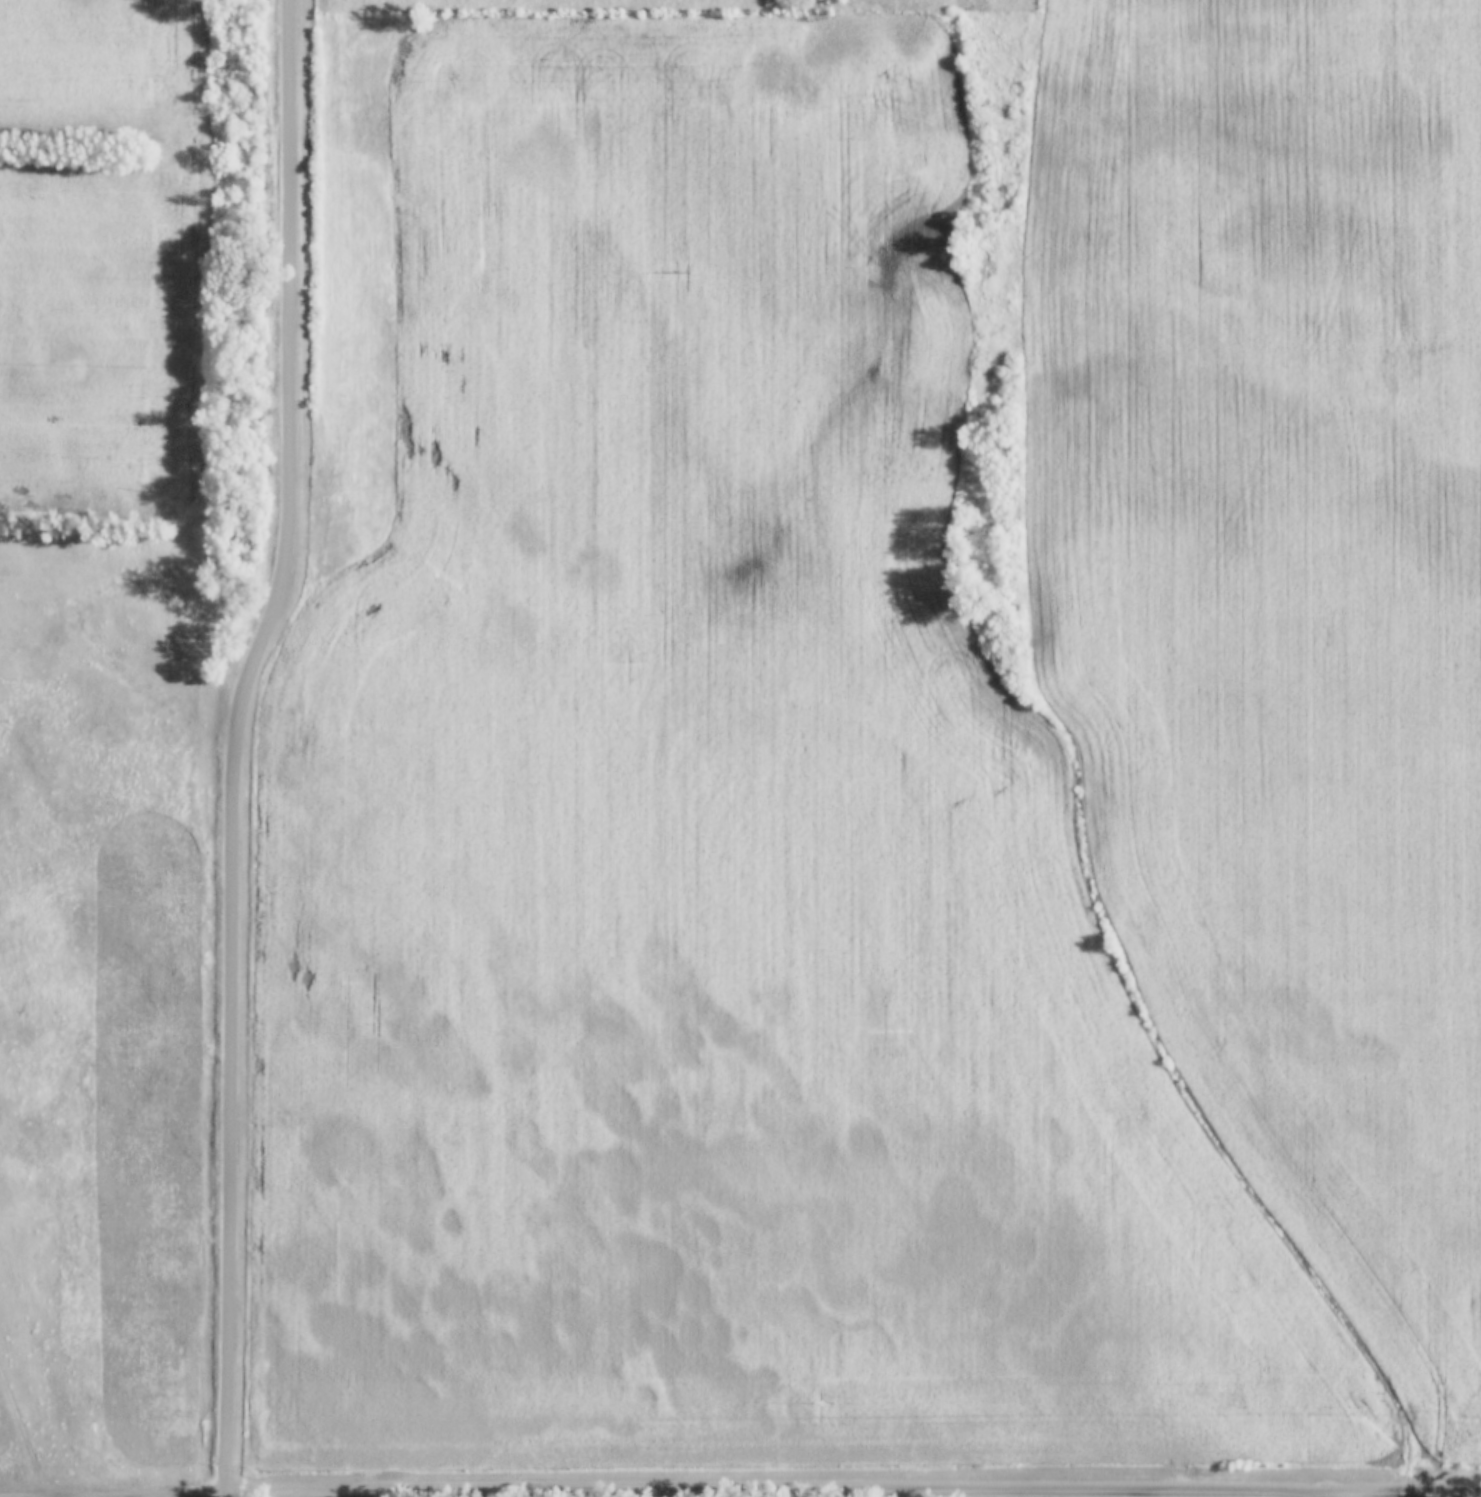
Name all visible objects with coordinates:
road: (240, 744)
road: (852, 1491)
road: (136, 1495)
road: (1334, 1495)

